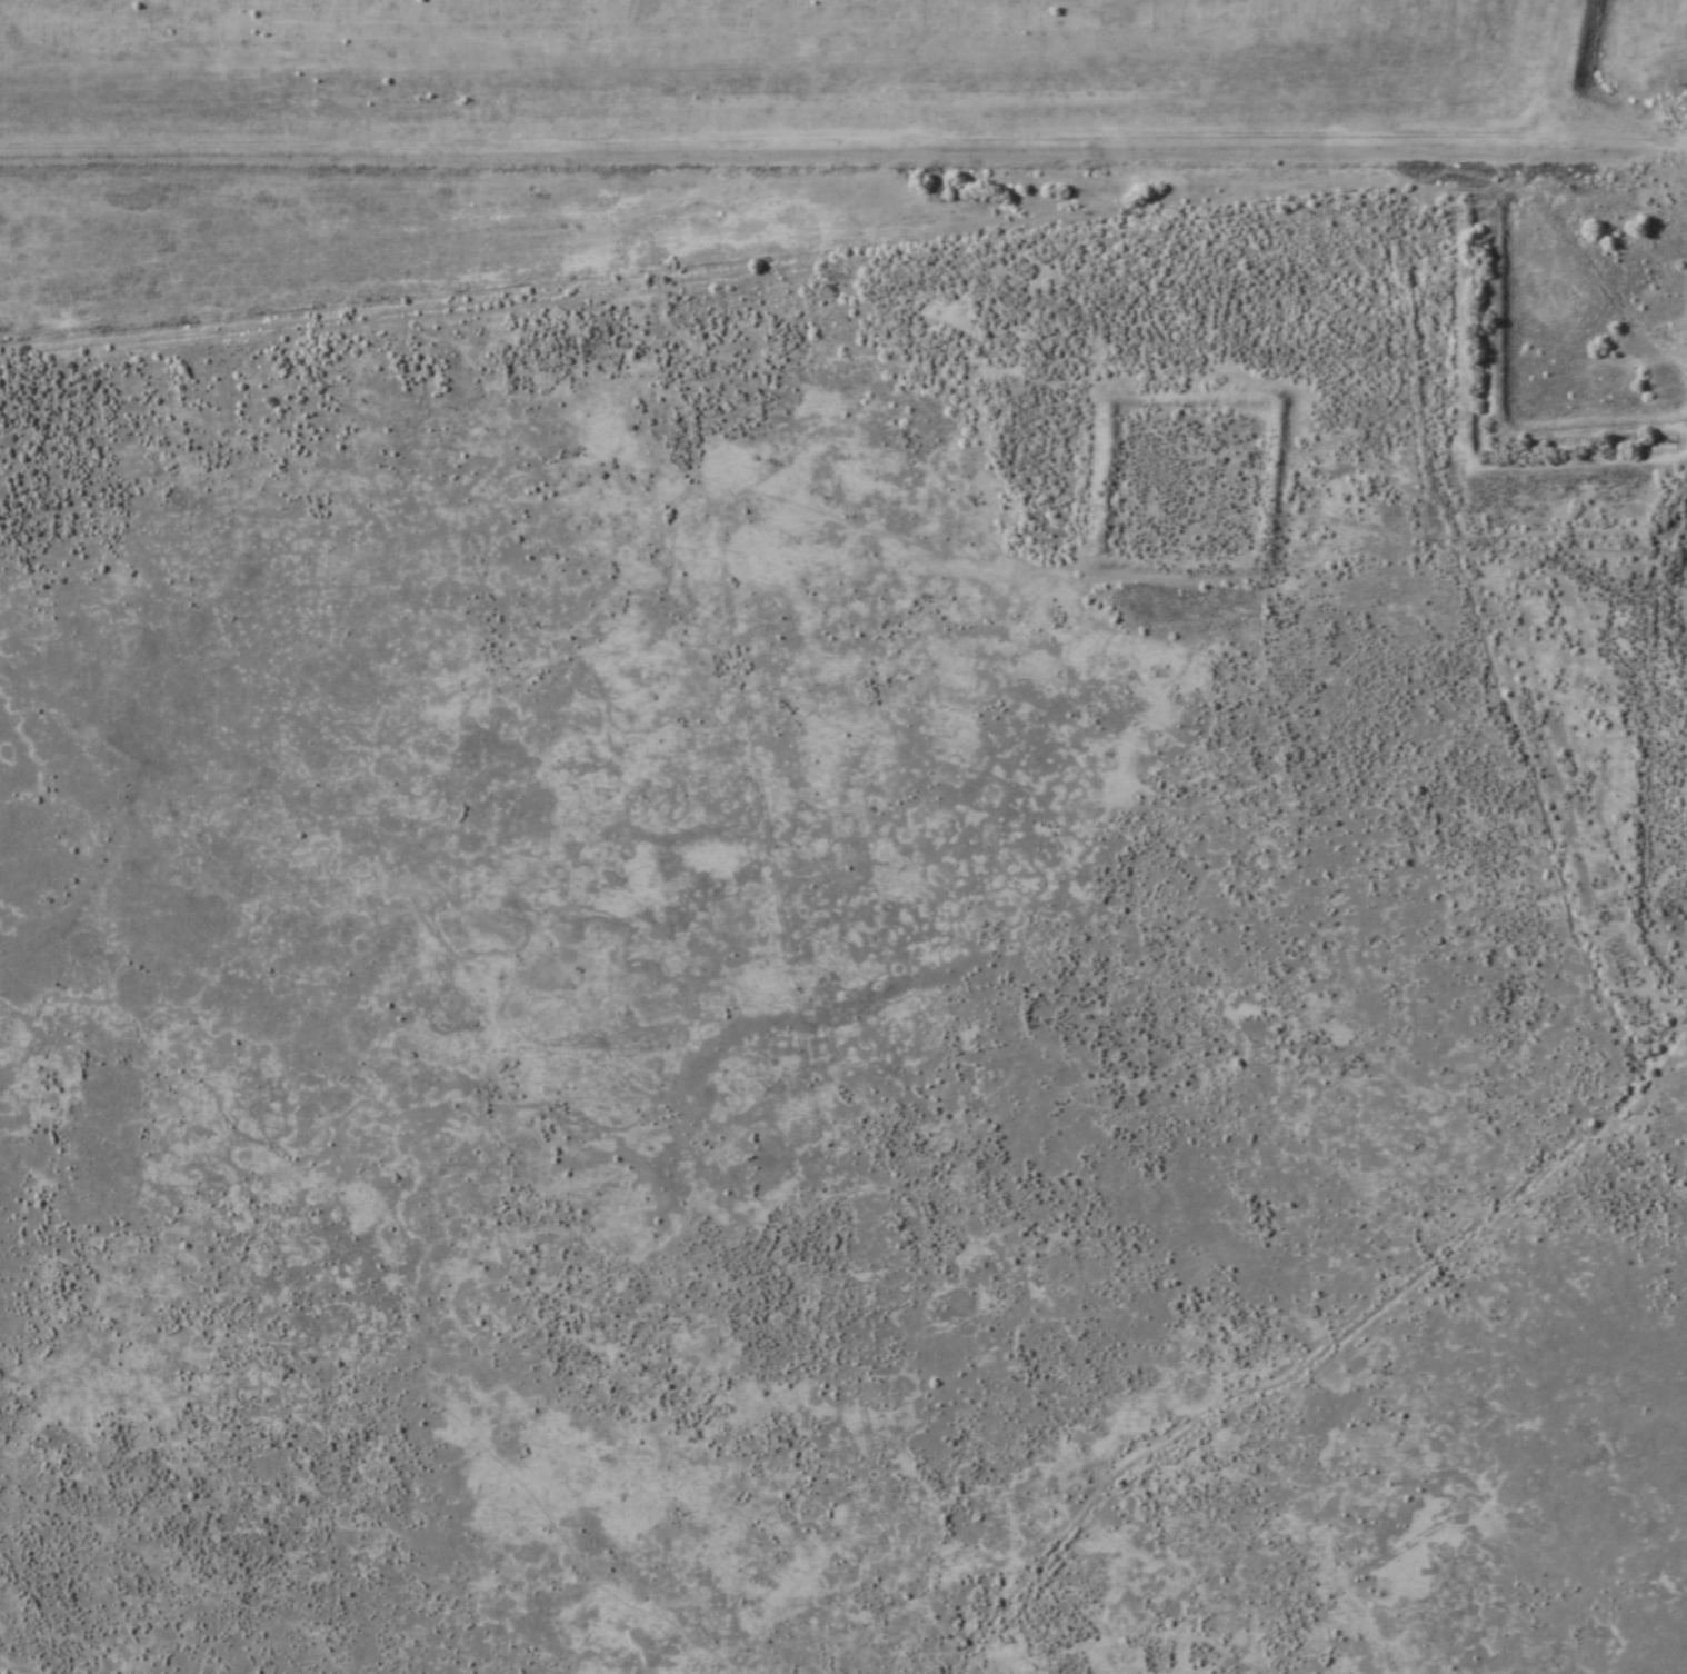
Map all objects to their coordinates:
road: (843, 145)

